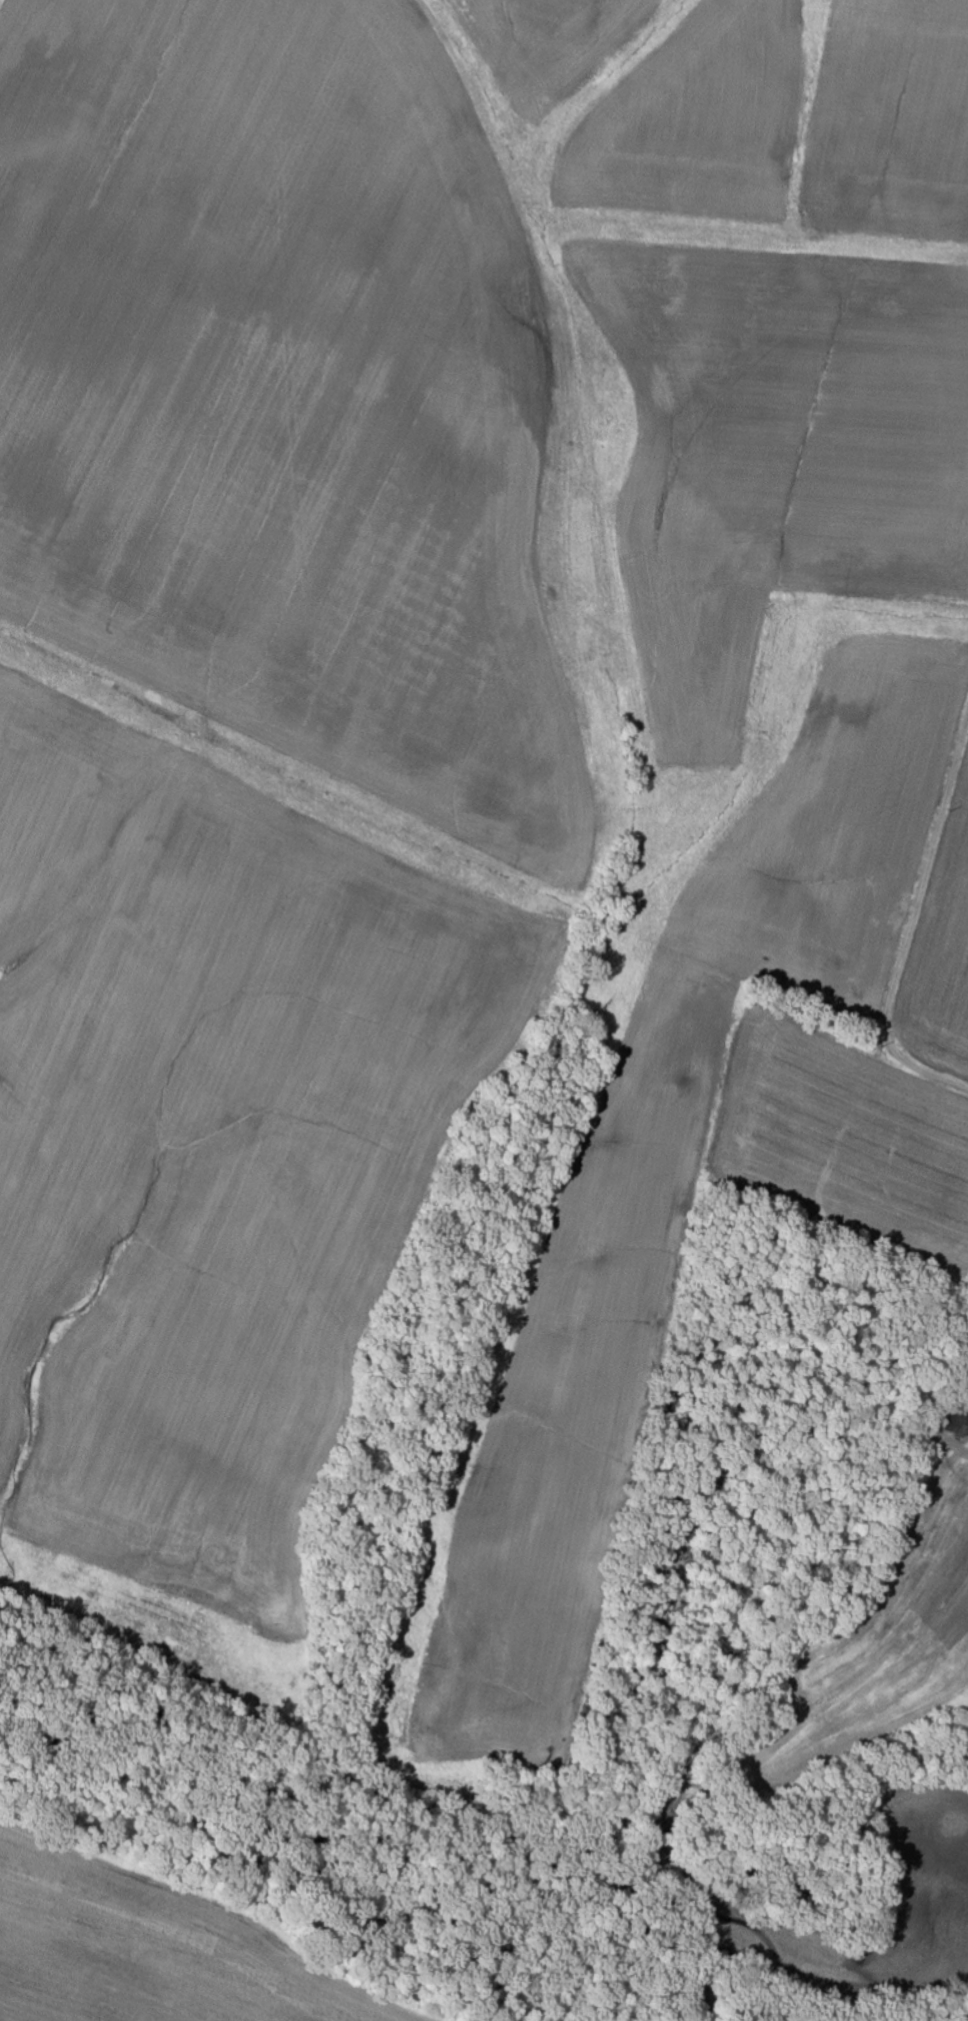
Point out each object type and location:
road: (780, 146)

